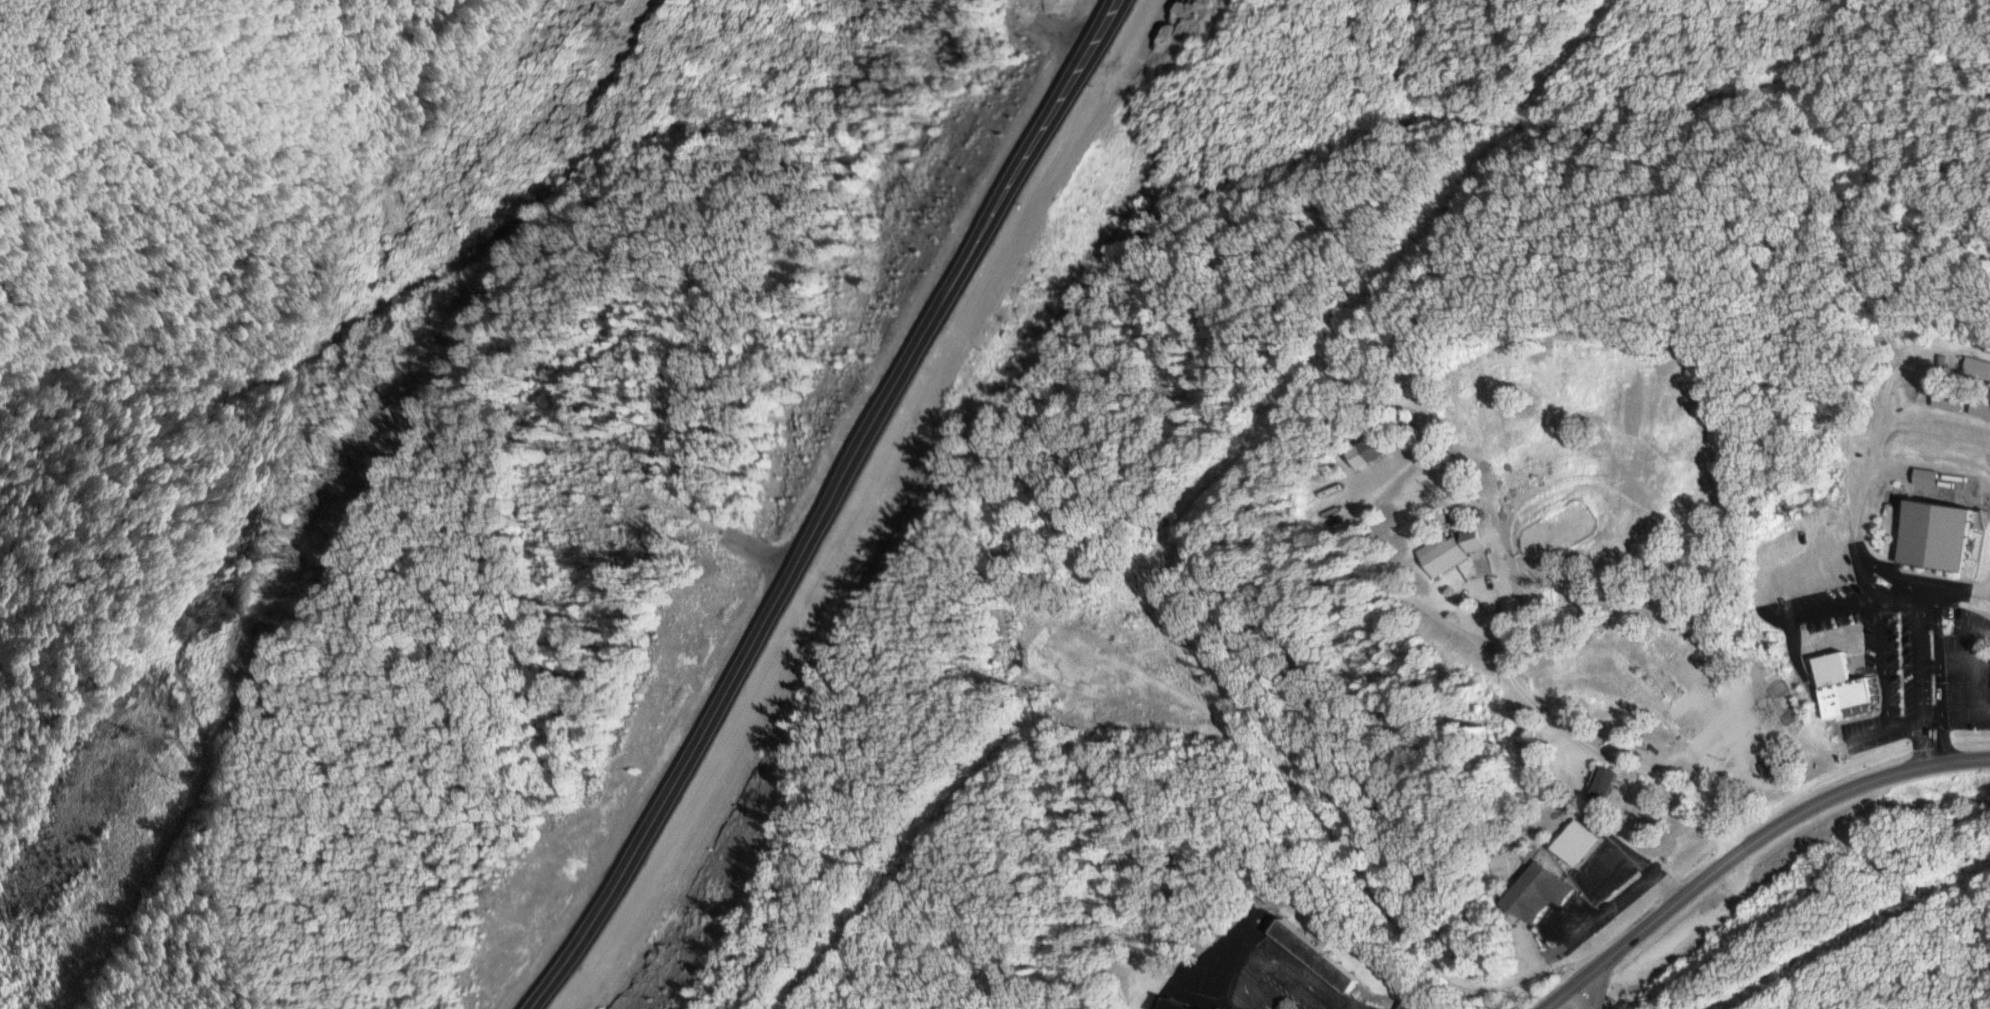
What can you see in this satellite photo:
building: (1978, 367)
building: (1955, 401)
building: (1983, 408)
road: (1903, 416)
building: (1371, 450)
building: (1929, 478)
road: (822, 507)
road: (1859, 522)
building: (1942, 536)
building: (1453, 550)
power tower: (308, 562)
road: (1897, 577)
road: (1962, 595)
power tower: (199, 616)
road: (1925, 644)
road: (1885, 676)
road: (1942, 685)
building: (1846, 687)
road: (1518, 706)
power tower: (128, 735)
power tower: (171, 779)
building: (1608, 785)
building: (1581, 841)
road: (1748, 844)
road: (1610, 869)
building: (1545, 891)
building: (1321, 955)
road: (1585, 994)
building: (1413, 1005)
building: (1185, 1006)

